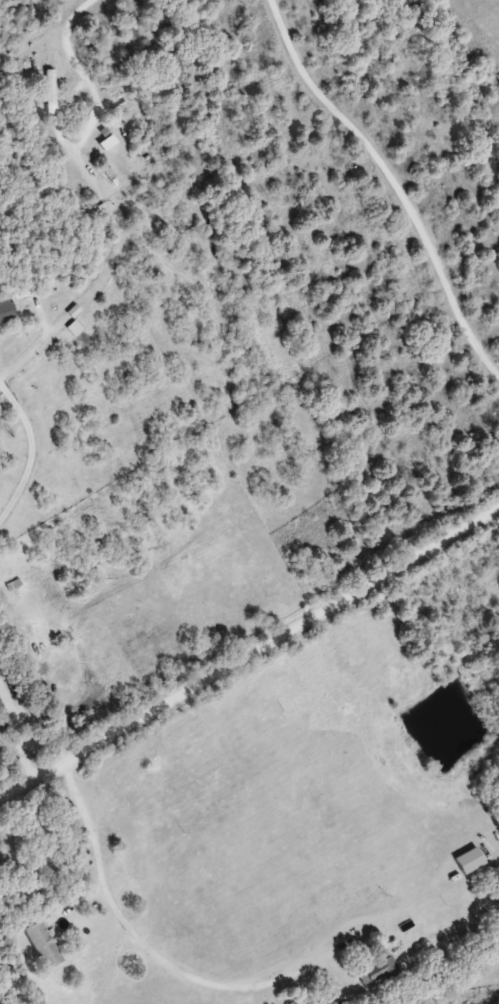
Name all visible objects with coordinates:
building: (52, 89)
building: (109, 141)
building: (0, 410)
road: (249, 657)
building: (5, 714)
building: (380, 969)

